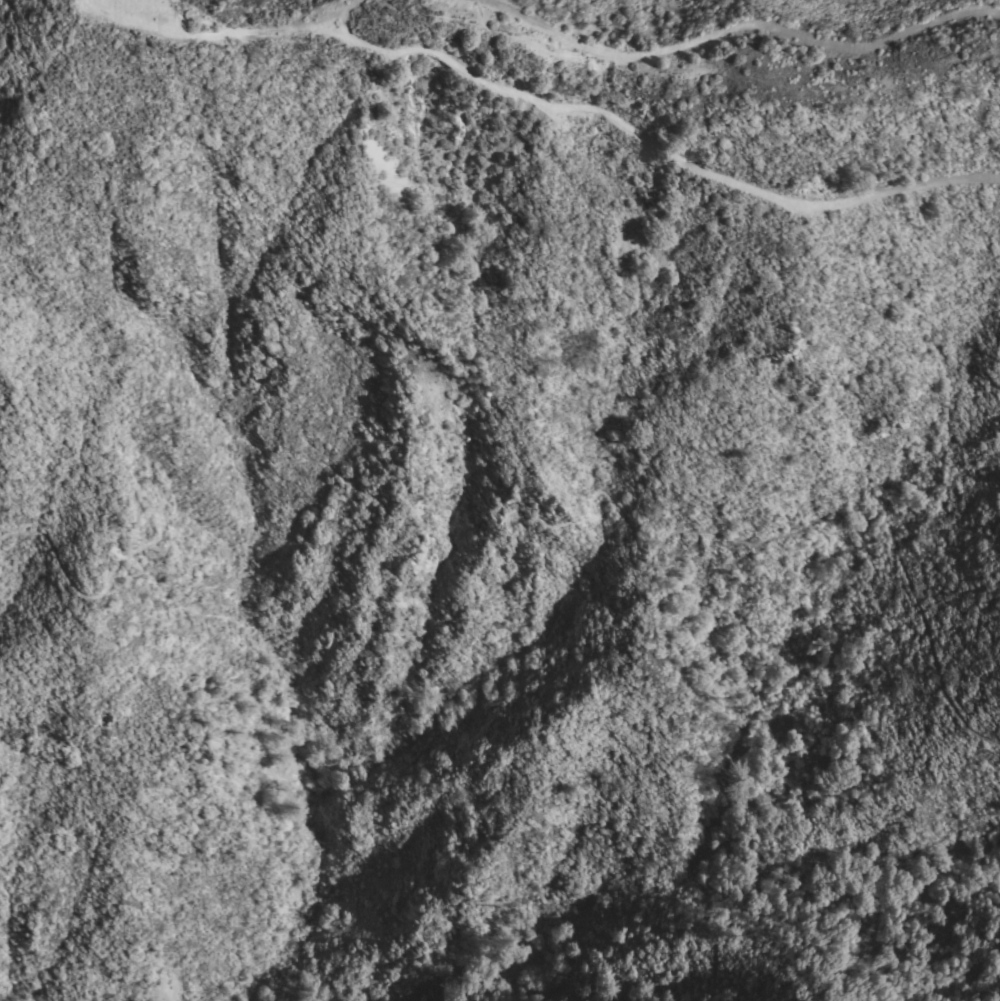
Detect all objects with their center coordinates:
road: (743, 22)
road: (239, 26)
road: (652, 136)
road: (532, 516)

